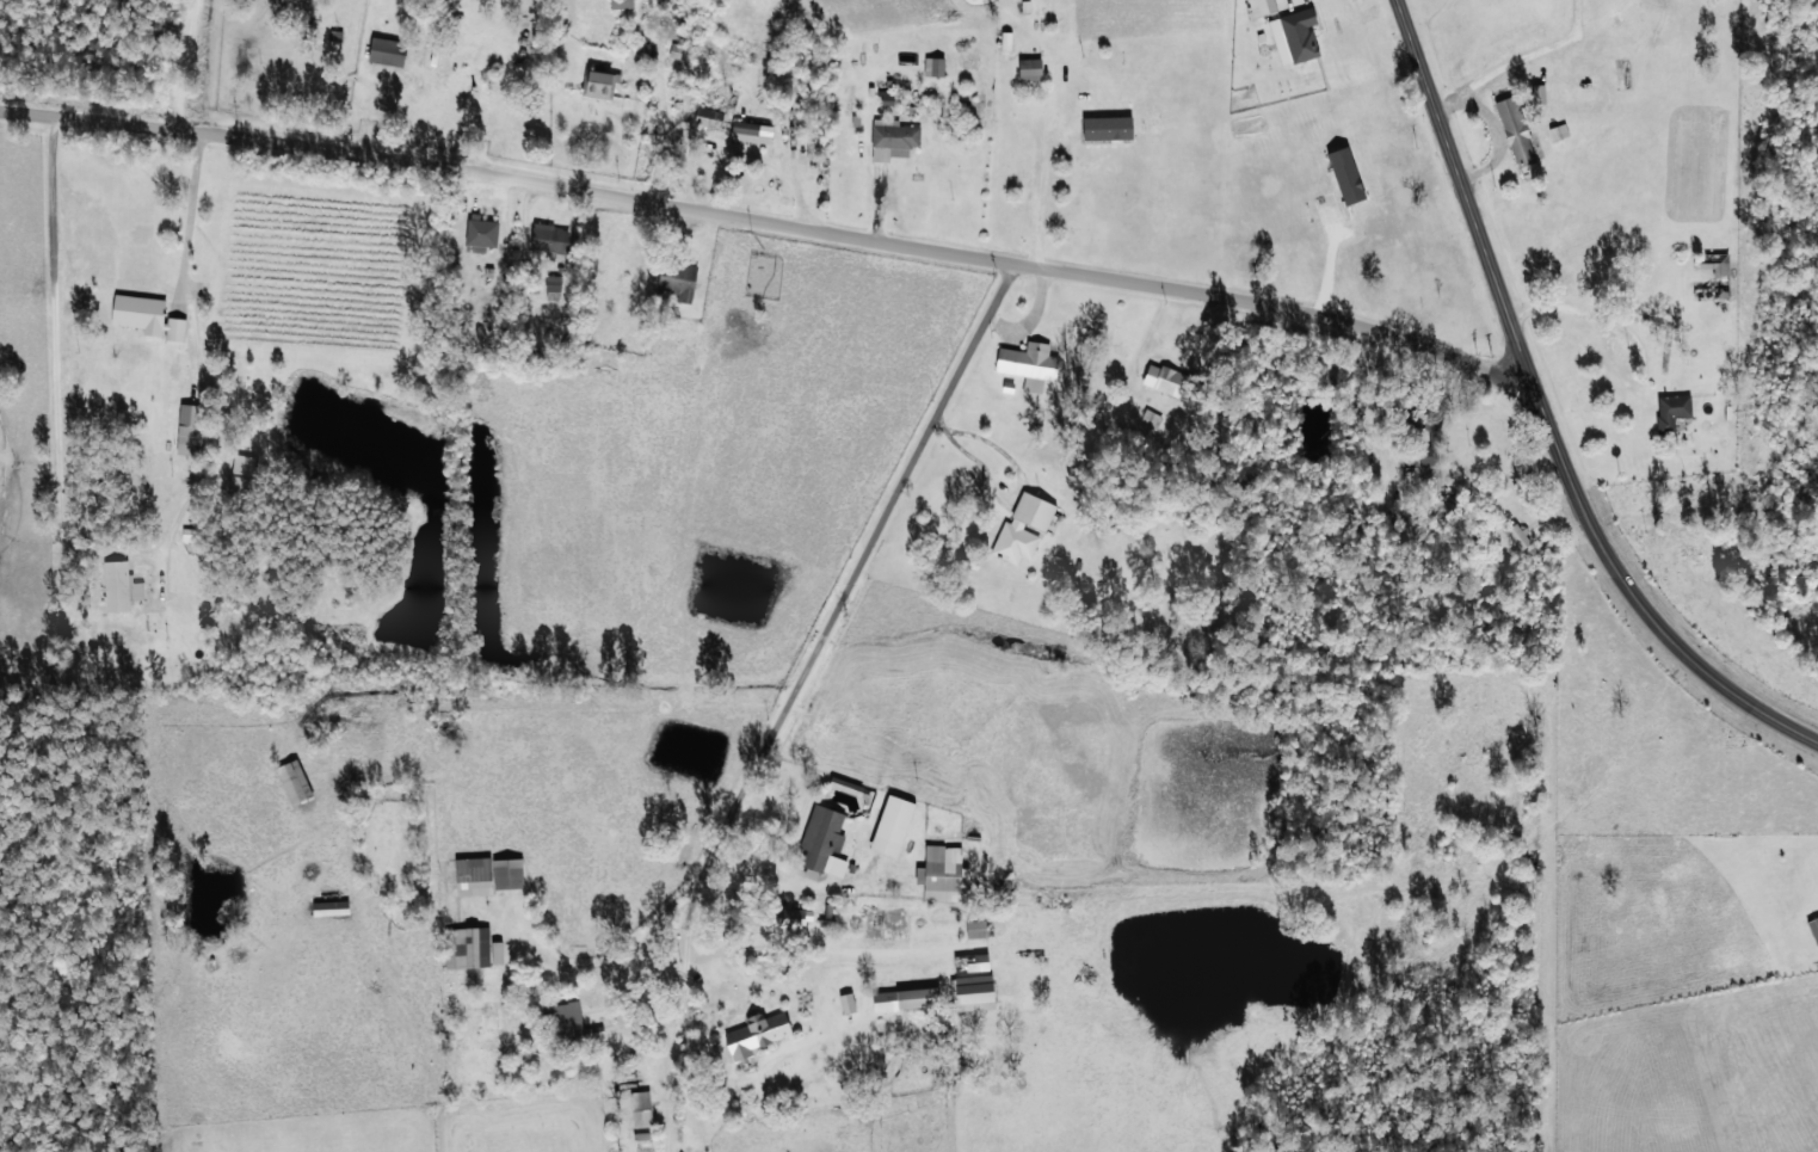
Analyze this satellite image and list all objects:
building: (621, 4)
building: (1265, 6)
building: (1299, 33)
building: (1004, 41)
building: (384, 53)
building: (932, 67)
building: (1028, 67)
building: (598, 85)
building: (708, 117)
building: (1515, 131)
building: (1558, 131)
building: (751, 133)
road: (776, 221)
building: (480, 235)
building: (548, 240)
building: (1713, 276)
building: (678, 279)
building: (551, 288)
building: (148, 318)
building: (1028, 365)
building: (1167, 381)
building: (1671, 409)
road: (1542, 415)
building: (189, 432)
building: (239, 487)
building: (1022, 528)
building: (119, 585)
road: (834, 633)
building: (294, 782)
building: (892, 825)
building: (822, 842)
building: (942, 873)
building: (487, 875)
building: (789, 919)
building: (975, 929)
building: (1813, 929)
building: (467, 947)
building: (495, 951)
building: (969, 962)
building: (973, 992)
building: (905, 998)
building: (846, 1002)
building: (565, 1018)
building: (756, 1035)
building: (640, 1108)

